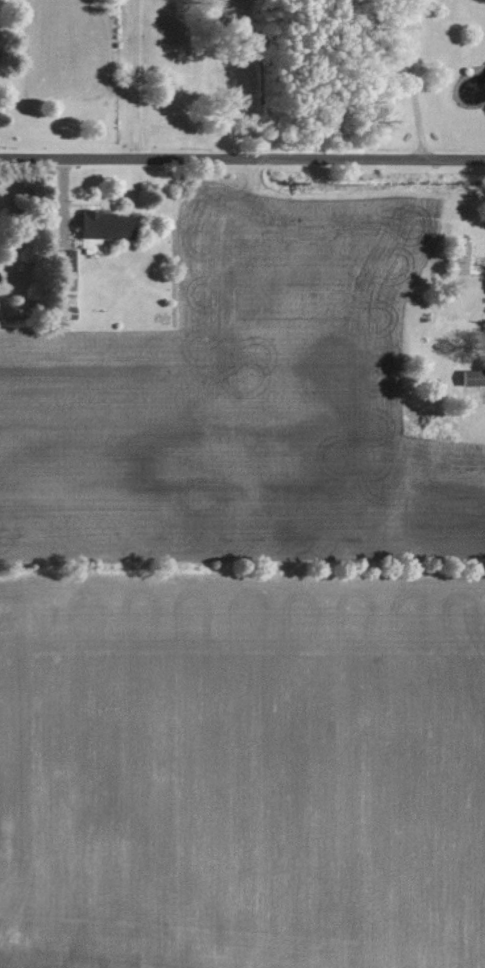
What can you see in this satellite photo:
road: (133, 79)
road: (410, 79)
road: (242, 159)
building: (103, 226)
building: (462, 259)
building: (63, 261)
building: (472, 378)

